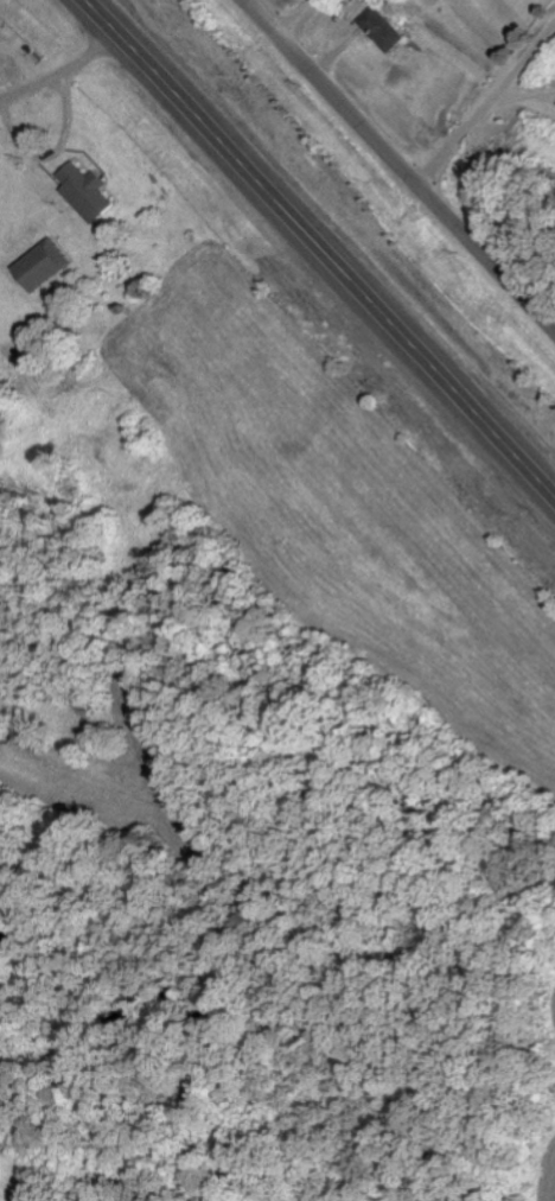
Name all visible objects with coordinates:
road: (307, 24)
building: (382, 28)
road: (396, 167)
building: (83, 191)
road: (317, 253)
building: (40, 265)

